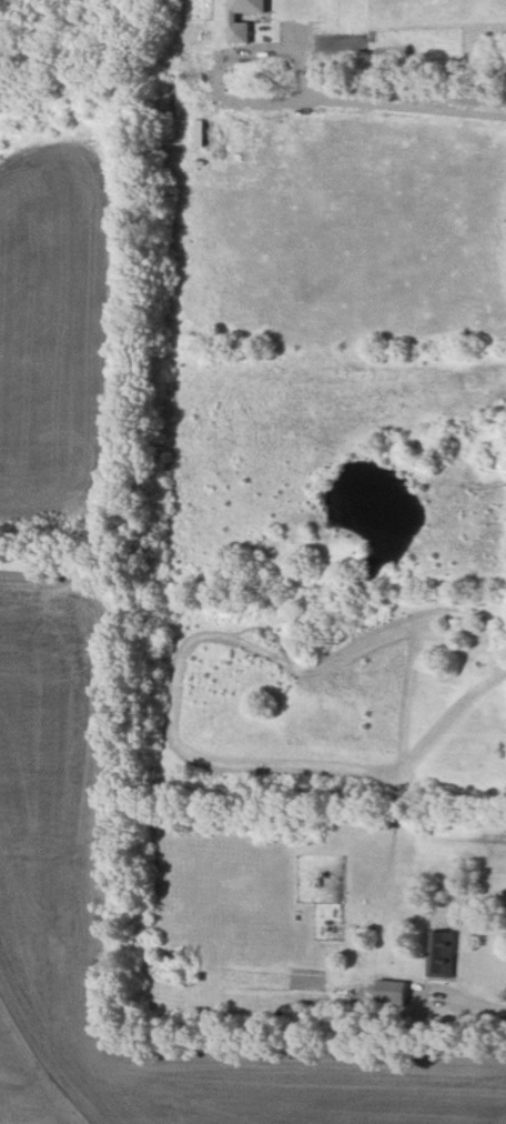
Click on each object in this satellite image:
building: (234, 17)
road: (368, 104)
crop: (53, 305)
crop: (337, 428)
crop: (49, 817)
building: (439, 954)
building: (391, 992)
road: (475, 1004)

